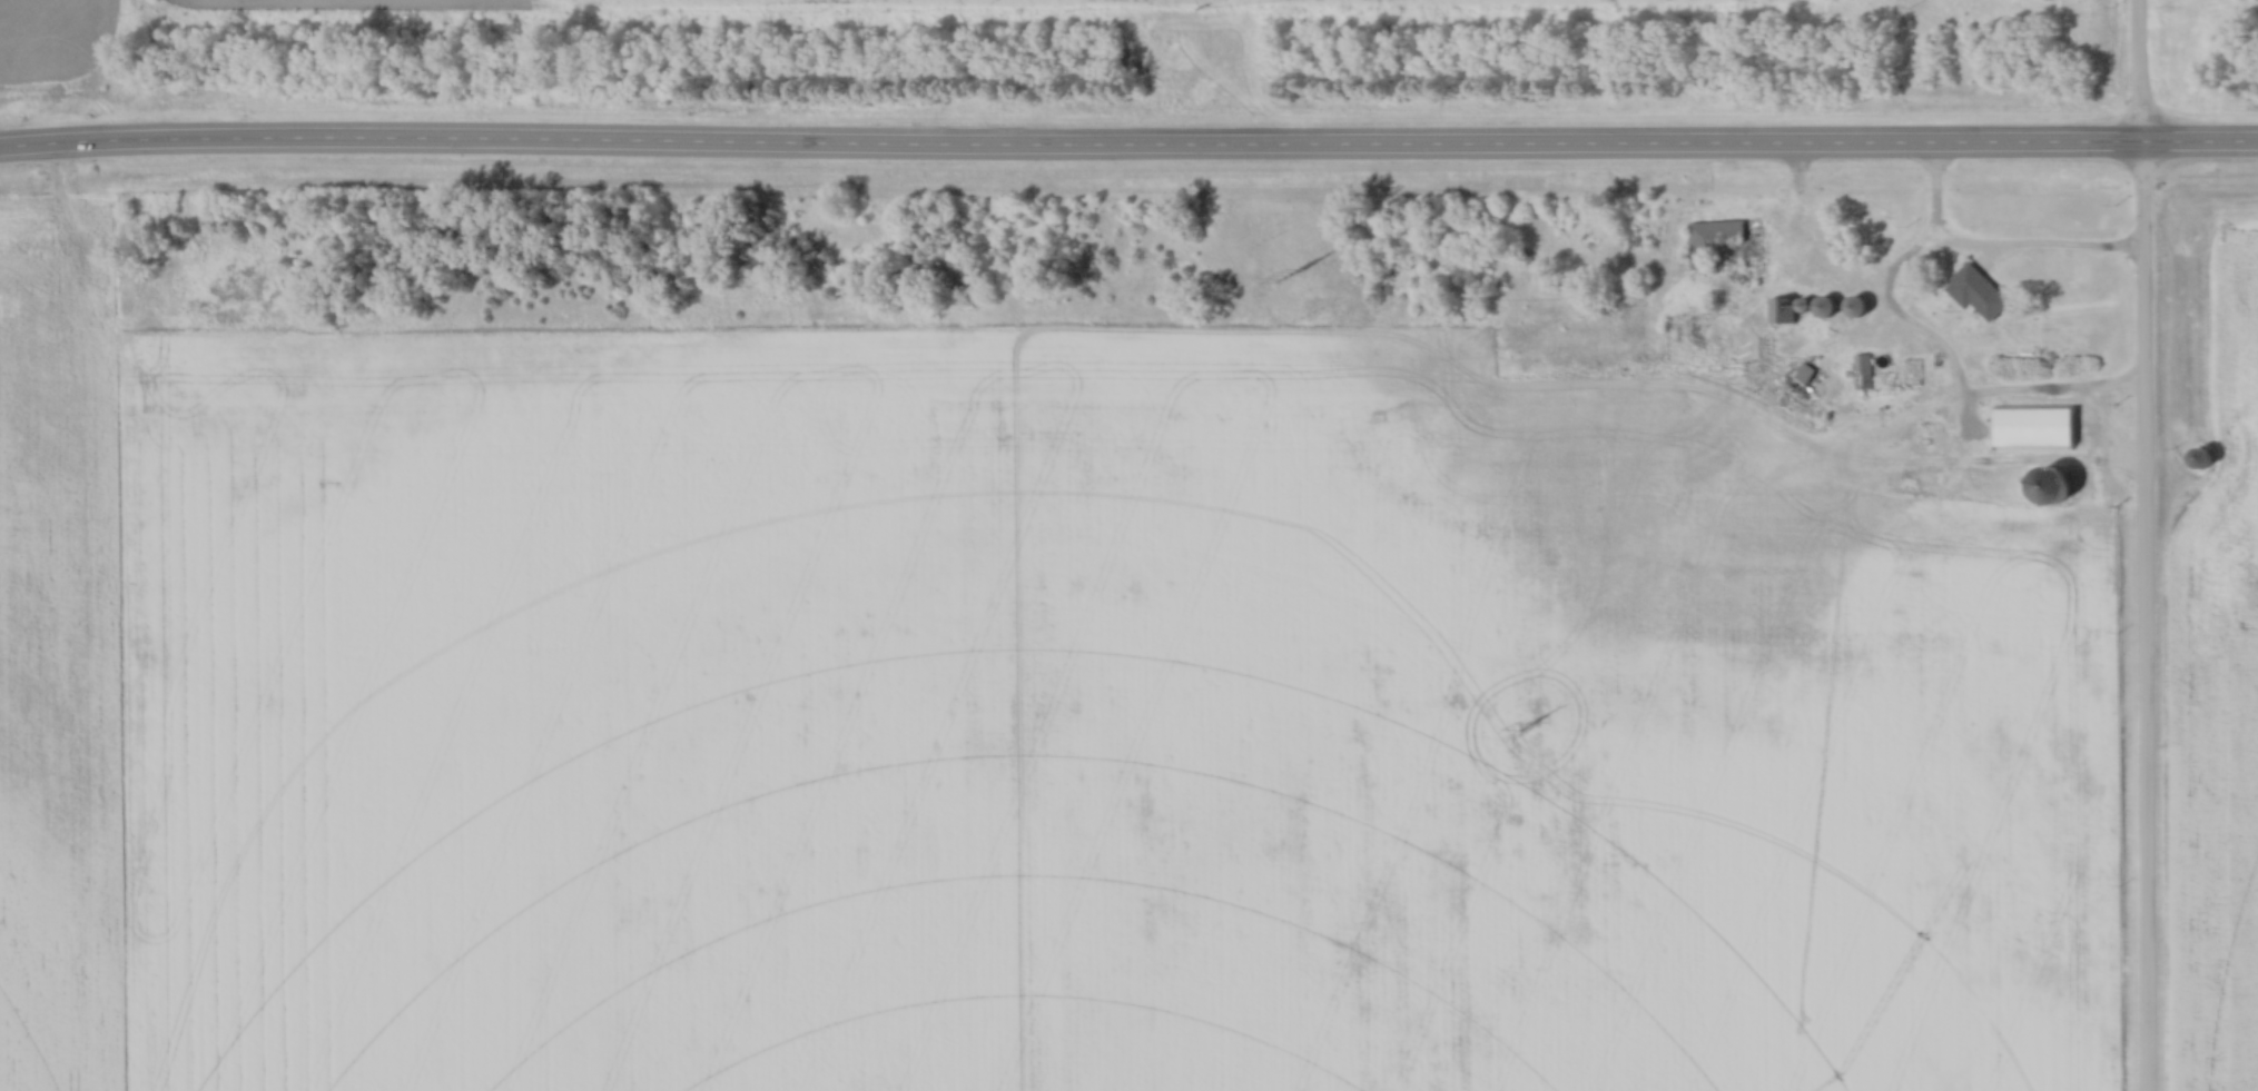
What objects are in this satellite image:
road: (48, 146)
road: (1128, 147)
road: (1800, 212)
building: (1717, 239)
road: (2065, 247)
power tower: (1285, 280)
building: (1976, 295)
building: (1854, 308)
building: (1862, 367)
building: (2033, 429)
building: (2201, 462)
road: (2148, 545)
power tower: (1528, 728)

